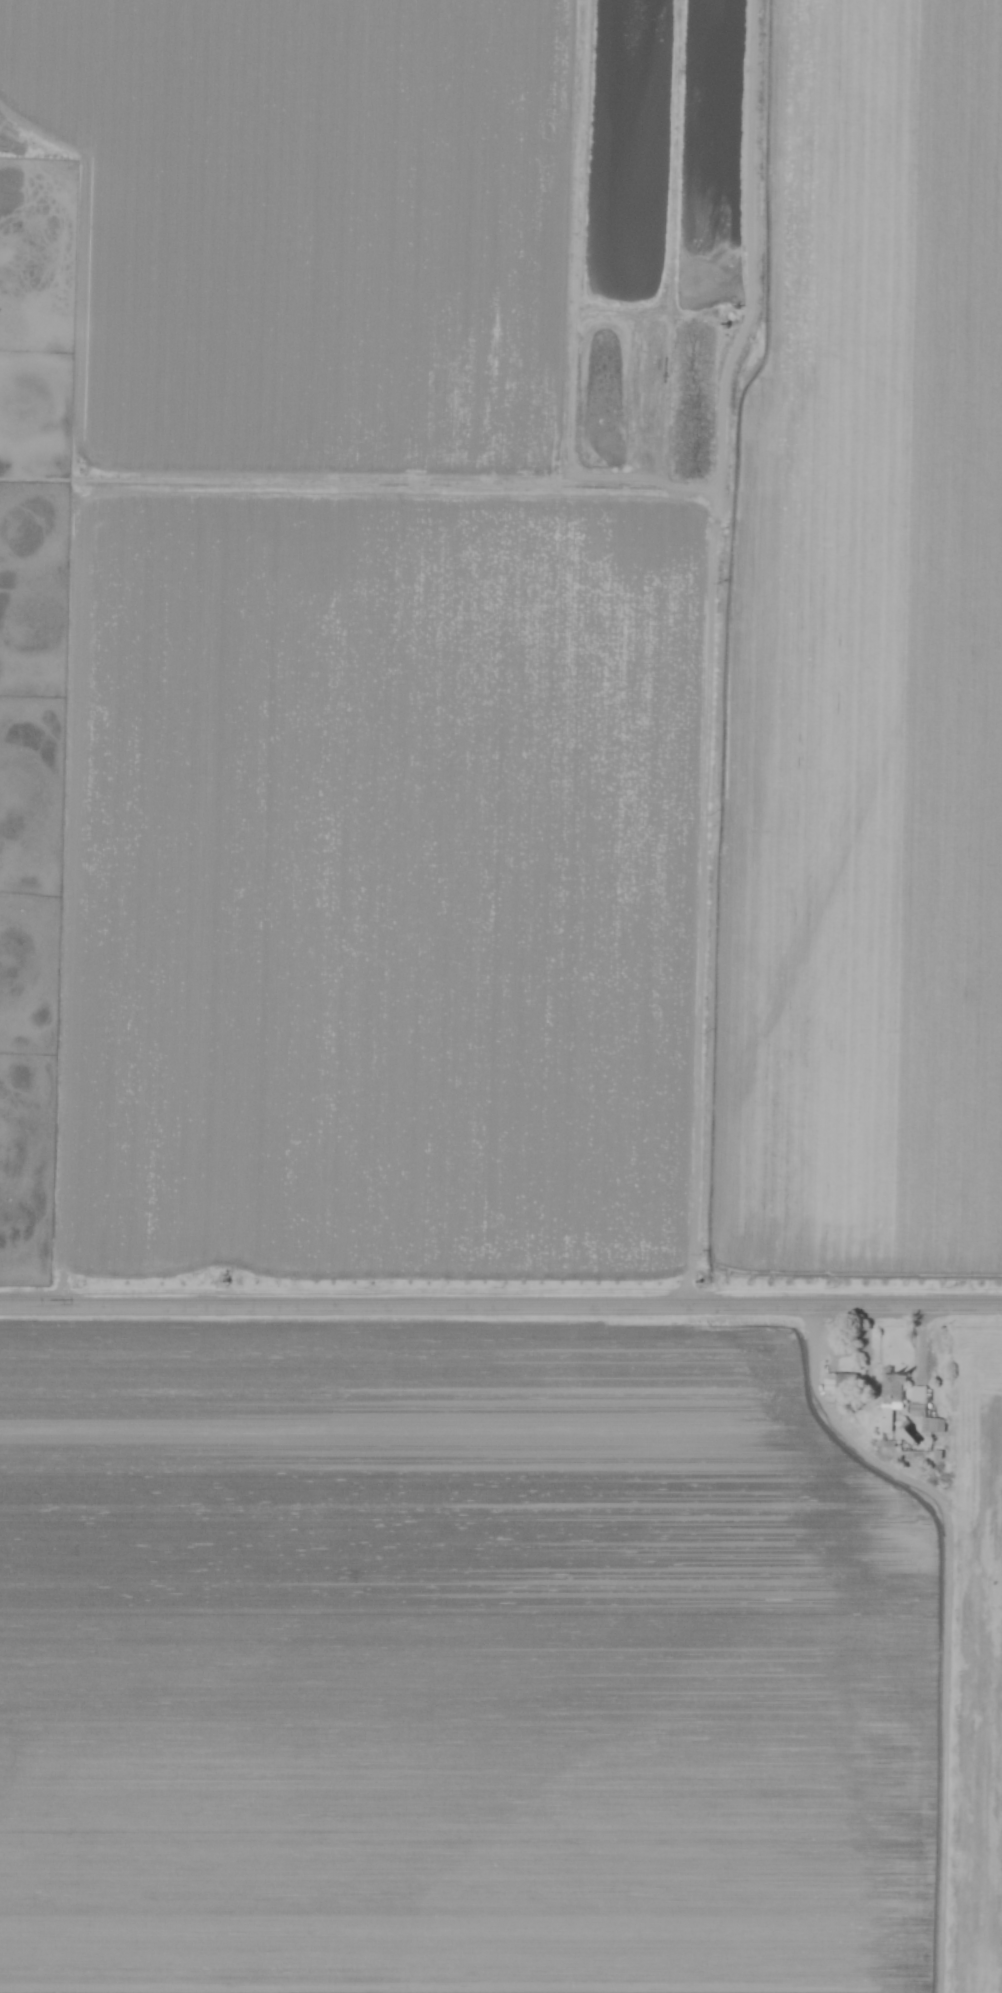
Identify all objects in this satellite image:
crop: (519, 1007)
road: (501, 1307)
building: (839, 1384)
building: (917, 1394)
building: (890, 1396)
building: (915, 1411)

